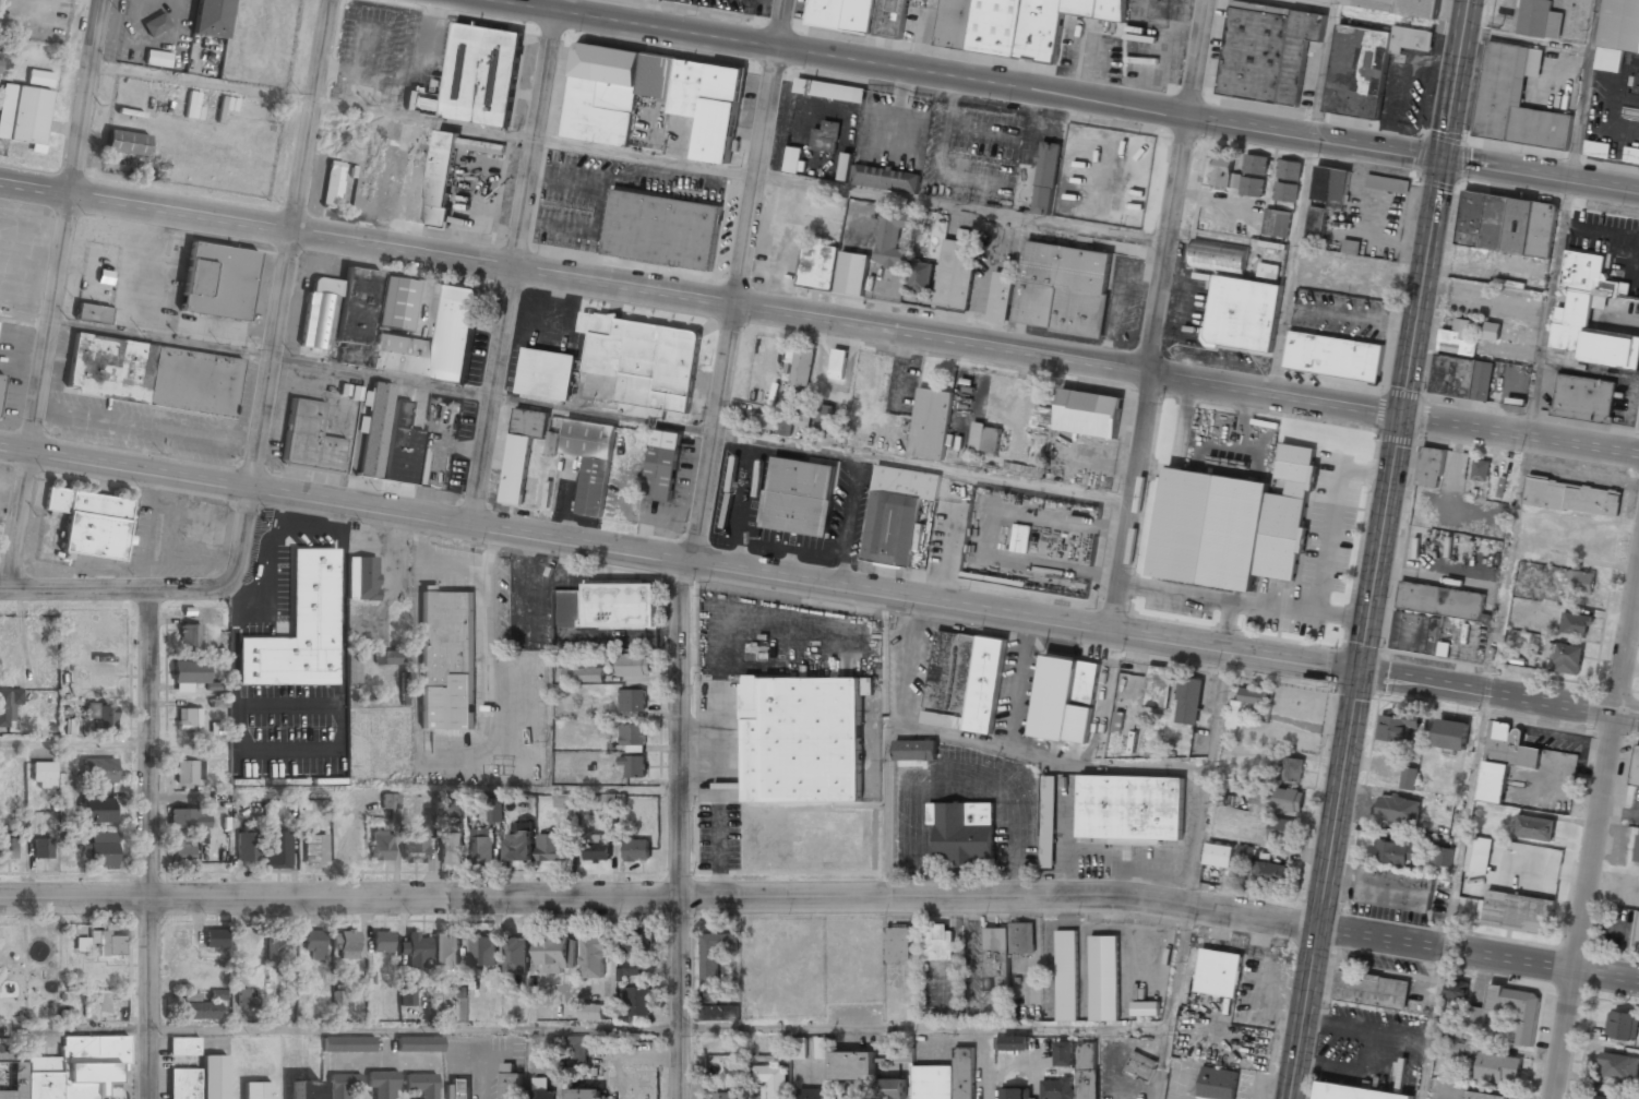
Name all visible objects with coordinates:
parking lot: (725, 4)
building: (1399, 7)
building: (860, 15)
building: (211, 19)
building: (1540, 20)
building: (1014, 25)
building: (155, 26)
building: (1618, 33)
parking lot: (390, 50)
building: (1267, 50)
building: (157, 60)
building: (0, 63)
building: (1366, 65)
building: (481, 74)
building: (39, 77)
building: (837, 92)
building: (357, 95)
road: (1057, 95)
building: (650, 96)
building: (1632, 97)
building: (1515, 98)
building: (23, 114)
building: (825, 138)
building: (127, 144)
building: (1596, 148)
building: (1631, 155)
building: (792, 160)
traffic signals: (1443, 160)
building: (1255, 165)
building: (1289, 169)
building: (418, 172)
building: (1224, 172)
building: (884, 179)
building: (1044, 179)
building: (333, 184)
building: (1330, 184)
building: (1388, 184)
building: (1252, 186)
building: (1285, 192)
building: (1276, 223)
building: (1315, 223)
building: (1506, 224)
building: (661, 229)
building: (892, 237)
road: (291, 244)
building: (1350, 247)
building: (1219, 256)
road: (517, 262)
building: (833, 270)
building: (1268, 270)
building: (956, 273)
building: (921, 276)
building: (105, 278)
building: (1369, 278)
road: (744, 279)
building: (218, 283)
building: (1063, 288)
road: (702, 295)
road: (57, 296)
building: (1001, 297)
building: (399, 306)
building: (92, 314)
road: (1157, 314)
building: (1242, 314)
building: (1591, 314)
building: (315, 315)
building: (356, 322)
building: (1497, 330)
building: (456, 335)
building: (402, 356)
building: (1333, 356)
building: (644, 360)
building: (837, 363)
building: (1460, 365)
building: (799, 367)
road: (358, 372)
building: (548, 374)
building: (153, 375)
building: (1, 384)
building: (1583, 398)
building: (1088, 414)
building: (805, 416)
traffic signals: (1402, 417)
building: (769, 423)
building: (931, 423)
building: (826, 428)
road: (1520, 435)
road: (1527, 435)
building: (309, 438)
building: (388, 439)
building: (984, 439)
building: (553, 443)
building: (523, 452)
building: (591, 461)
building: (663, 465)
building: (1431, 466)
building: (1481, 469)
building: (799, 497)
building: (1572, 497)
building: (896, 514)
building: (93, 523)
building: (1232, 524)
road: (1380, 549)
road: (680, 556)
building: (358, 569)
building: (1580, 582)
road: (164, 593)
building: (623, 605)
building: (1429, 613)
building: (1575, 623)
building: (300, 630)
building: (189, 638)
building: (387, 657)
building: (1566, 657)
building: (446, 660)
building: (634, 665)
building: (355, 668)
traffic signals: (1361, 670)
building: (190, 673)
building: (583, 674)
building: (965, 680)
building: (1158, 686)
road: (1499, 693)
building: (1065, 698)
building: (632, 701)
building: (1188, 701)
building: (218, 703)
building: (8, 706)
building: (101, 717)
building: (188, 719)
building: (1233, 720)
building: (1398, 725)
building: (74, 727)
building: (216, 729)
building: (1451, 733)
building: (633, 736)
building: (801, 739)
road: (74, 743)
building: (1511, 746)
building: (916, 750)
building: (633, 767)
building: (1291, 768)
building: (1636, 768)
building: (98, 771)
building: (186, 773)
building: (44, 775)
building: (1409, 778)
building: (1493, 781)
building: (1276, 798)
building: (565, 800)
building: (608, 800)
building: (390, 801)
building: (446, 808)
building: (1130, 808)
building: (495, 809)
building: (1399, 809)
building: (97, 811)
building: (183, 820)
building: (1046, 822)
building: (31, 823)
road: (679, 827)
building: (1535, 827)
building: (1281, 828)
building: (964, 832)
road: (1595, 834)
building: (519, 843)
road: (147, 846)
building: (415, 846)
building: (481, 846)
building: (8, 847)
building: (247, 847)
building: (381, 847)
building: (552, 848)
building: (598, 848)
building: (41, 849)
building: (451, 849)
building: (636, 849)
building: (1636, 850)
building: (278, 851)
building: (315, 851)
building: (1245, 851)
building: (101, 852)
building: (182, 852)
building: (1395, 852)
building: (1219, 855)
building: (1479, 855)
building: (1441, 856)
building: (1271, 873)
building: (1393, 889)
road: (997, 895)
road: (338, 900)
building: (1518, 912)
building: (1637, 939)
building: (215, 940)
building: (938, 941)
building: (382, 942)
building: (638, 942)
building: (101, 944)
building: (897, 944)
building: (313, 945)
building: (346, 946)
building: (278, 947)
building: (483, 951)
building: (417, 952)
building: (446, 952)
building: (1004, 952)
road: (1476, 954)
building: (557, 955)
building: (515, 956)
building: (593, 957)
building: (714, 961)
building: (632, 968)
building: (1218, 972)
building: (1066, 976)
building: (1104, 978)
building: (1371, 990)
building: (1456, 990)
building: (218, 994)
building: (407, 998)
building: (244, 1000)
building: (637, 1002)
building: (338, 1006)
building: (1145, 1008)
building: (1511, 1010)
building: (201, 1012)
building: (591, 1012)
building: (719, 1013)
building: (1623, 1025)
road: (898, 1028)
road: (339, 1030)
building: (1015, 1043)
building: (348, 1046)
building: (419, 1046)
building: (183, 1047)
building: (822, 1047)
building: (800, 1048)
building: (1459, 1049)
building: (577, 1051)
building: (902, 1055)
building: (1080, 1065)
building: (1618, 1065)
building: (852, 1066)
building: (1141, 1066)
building: (1497, 1067)
building: (64, 1070)
building: (947, 1078)
building: (773, 1079)
building: (200, 1080)
building: (1218, 1083)
building: (510, 1084)
building: (383, 1085)
building: (342, 1086)
building: (421, 1086)
building: (306, 1089)
building: (458, 1089)
building: (892, 1089)
building: (1056, 1089)
building: (258, 1090)
building: (1354, 1092)
building: (585, 1094)
building: (812, 1094)
building: (1014, 1094)
building: (541, 1095)
building: (726, 1096)
building: (1480, 1096)
building: (1604, 1097)

